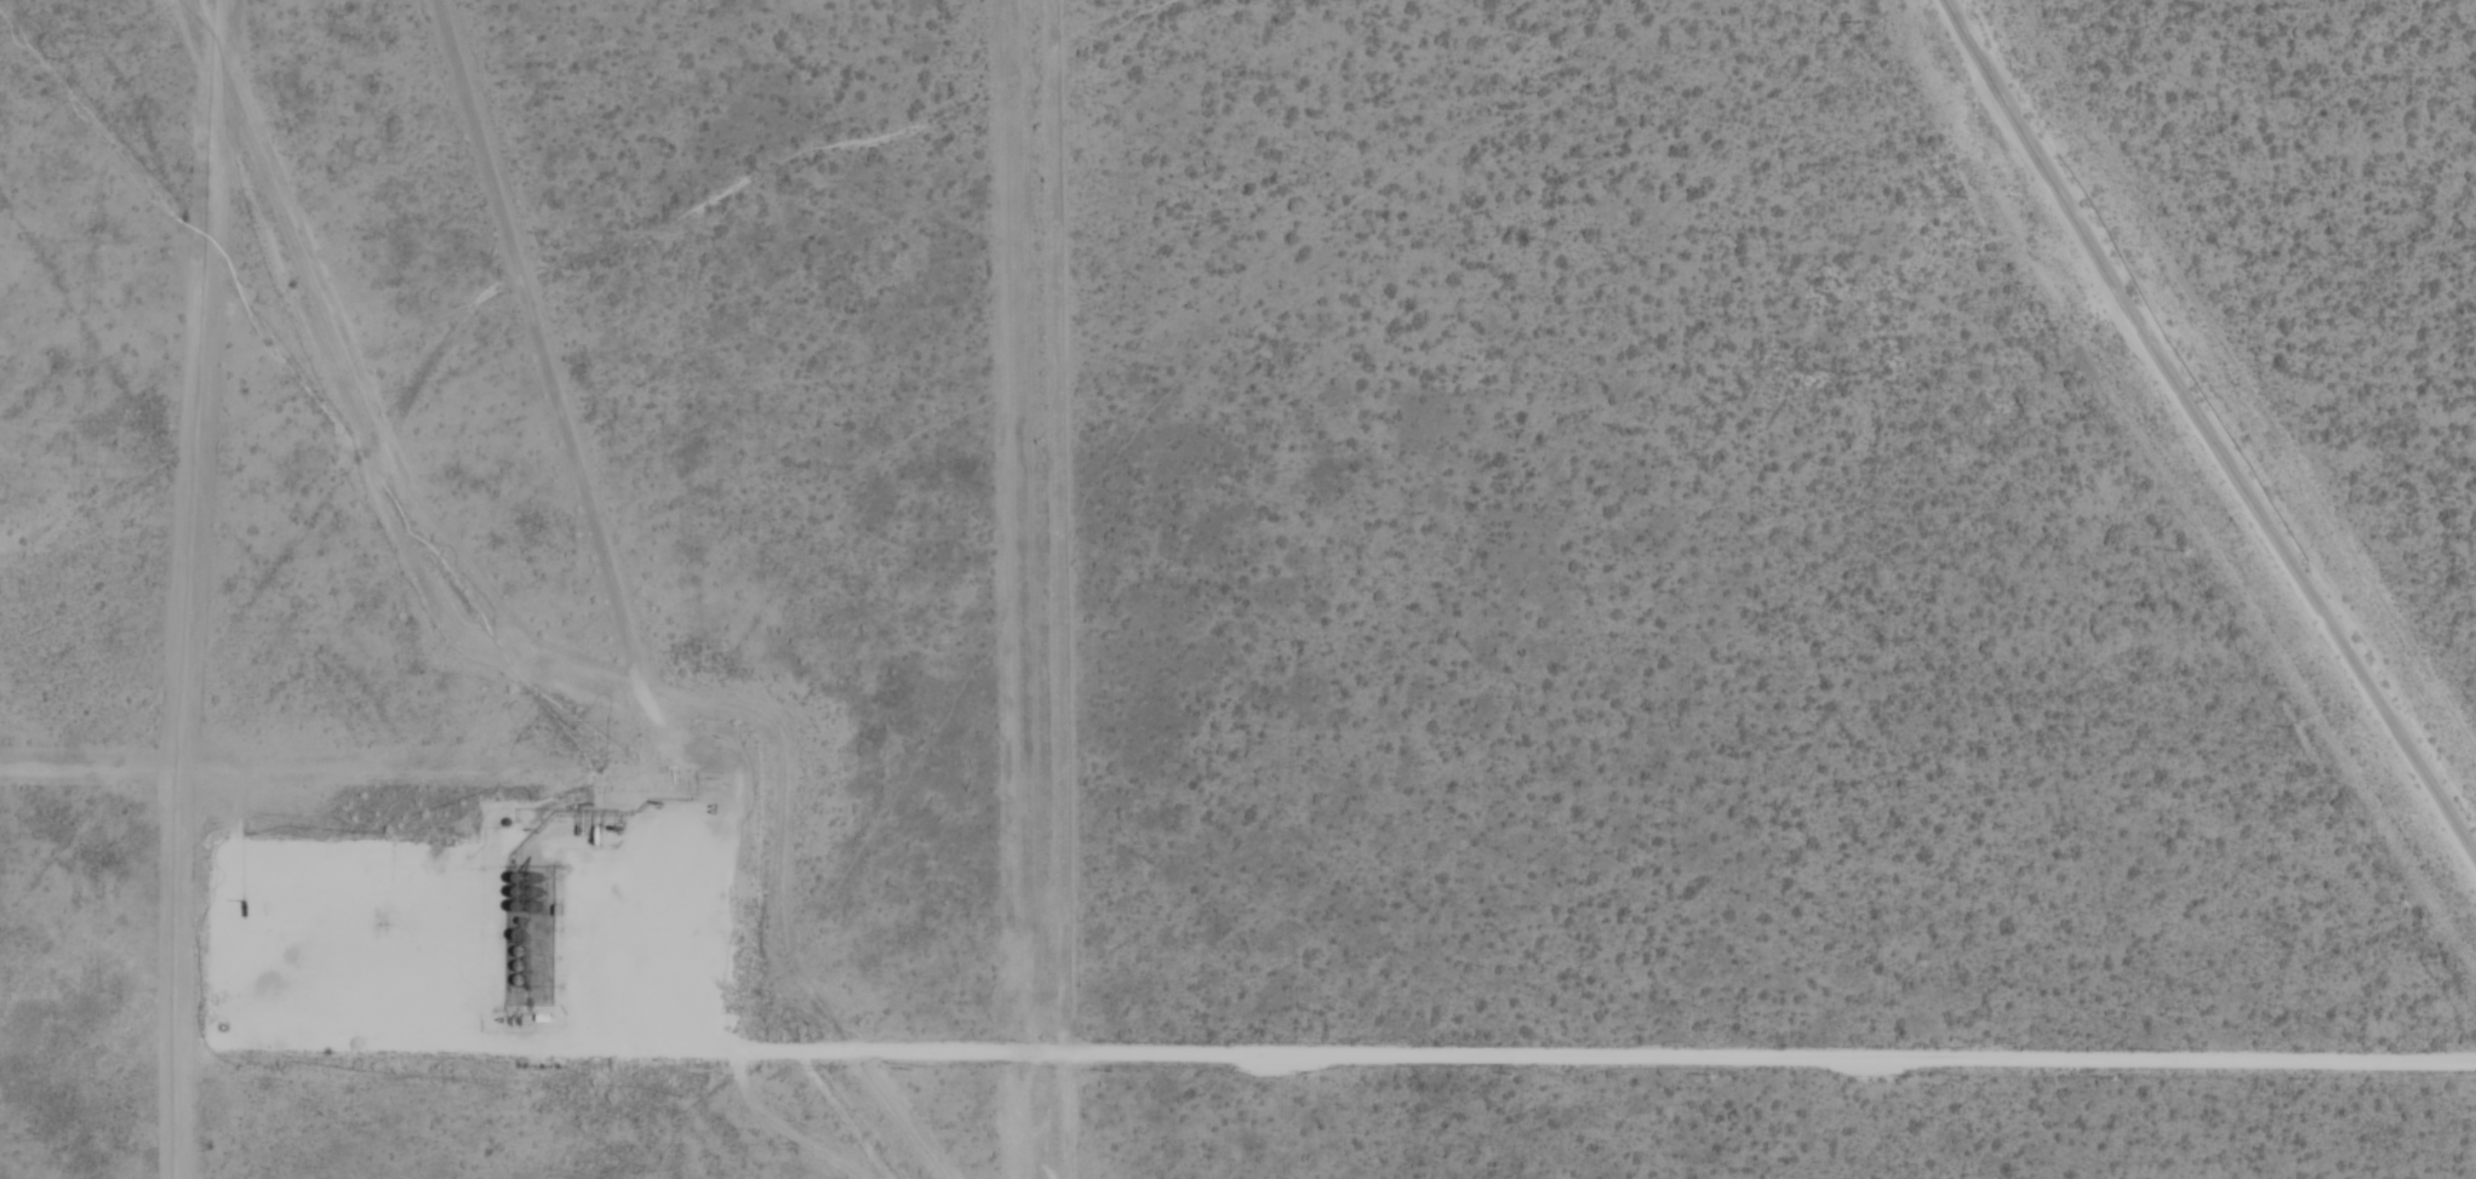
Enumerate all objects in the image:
road: (2188, 450)
road: (1348, 1048)

